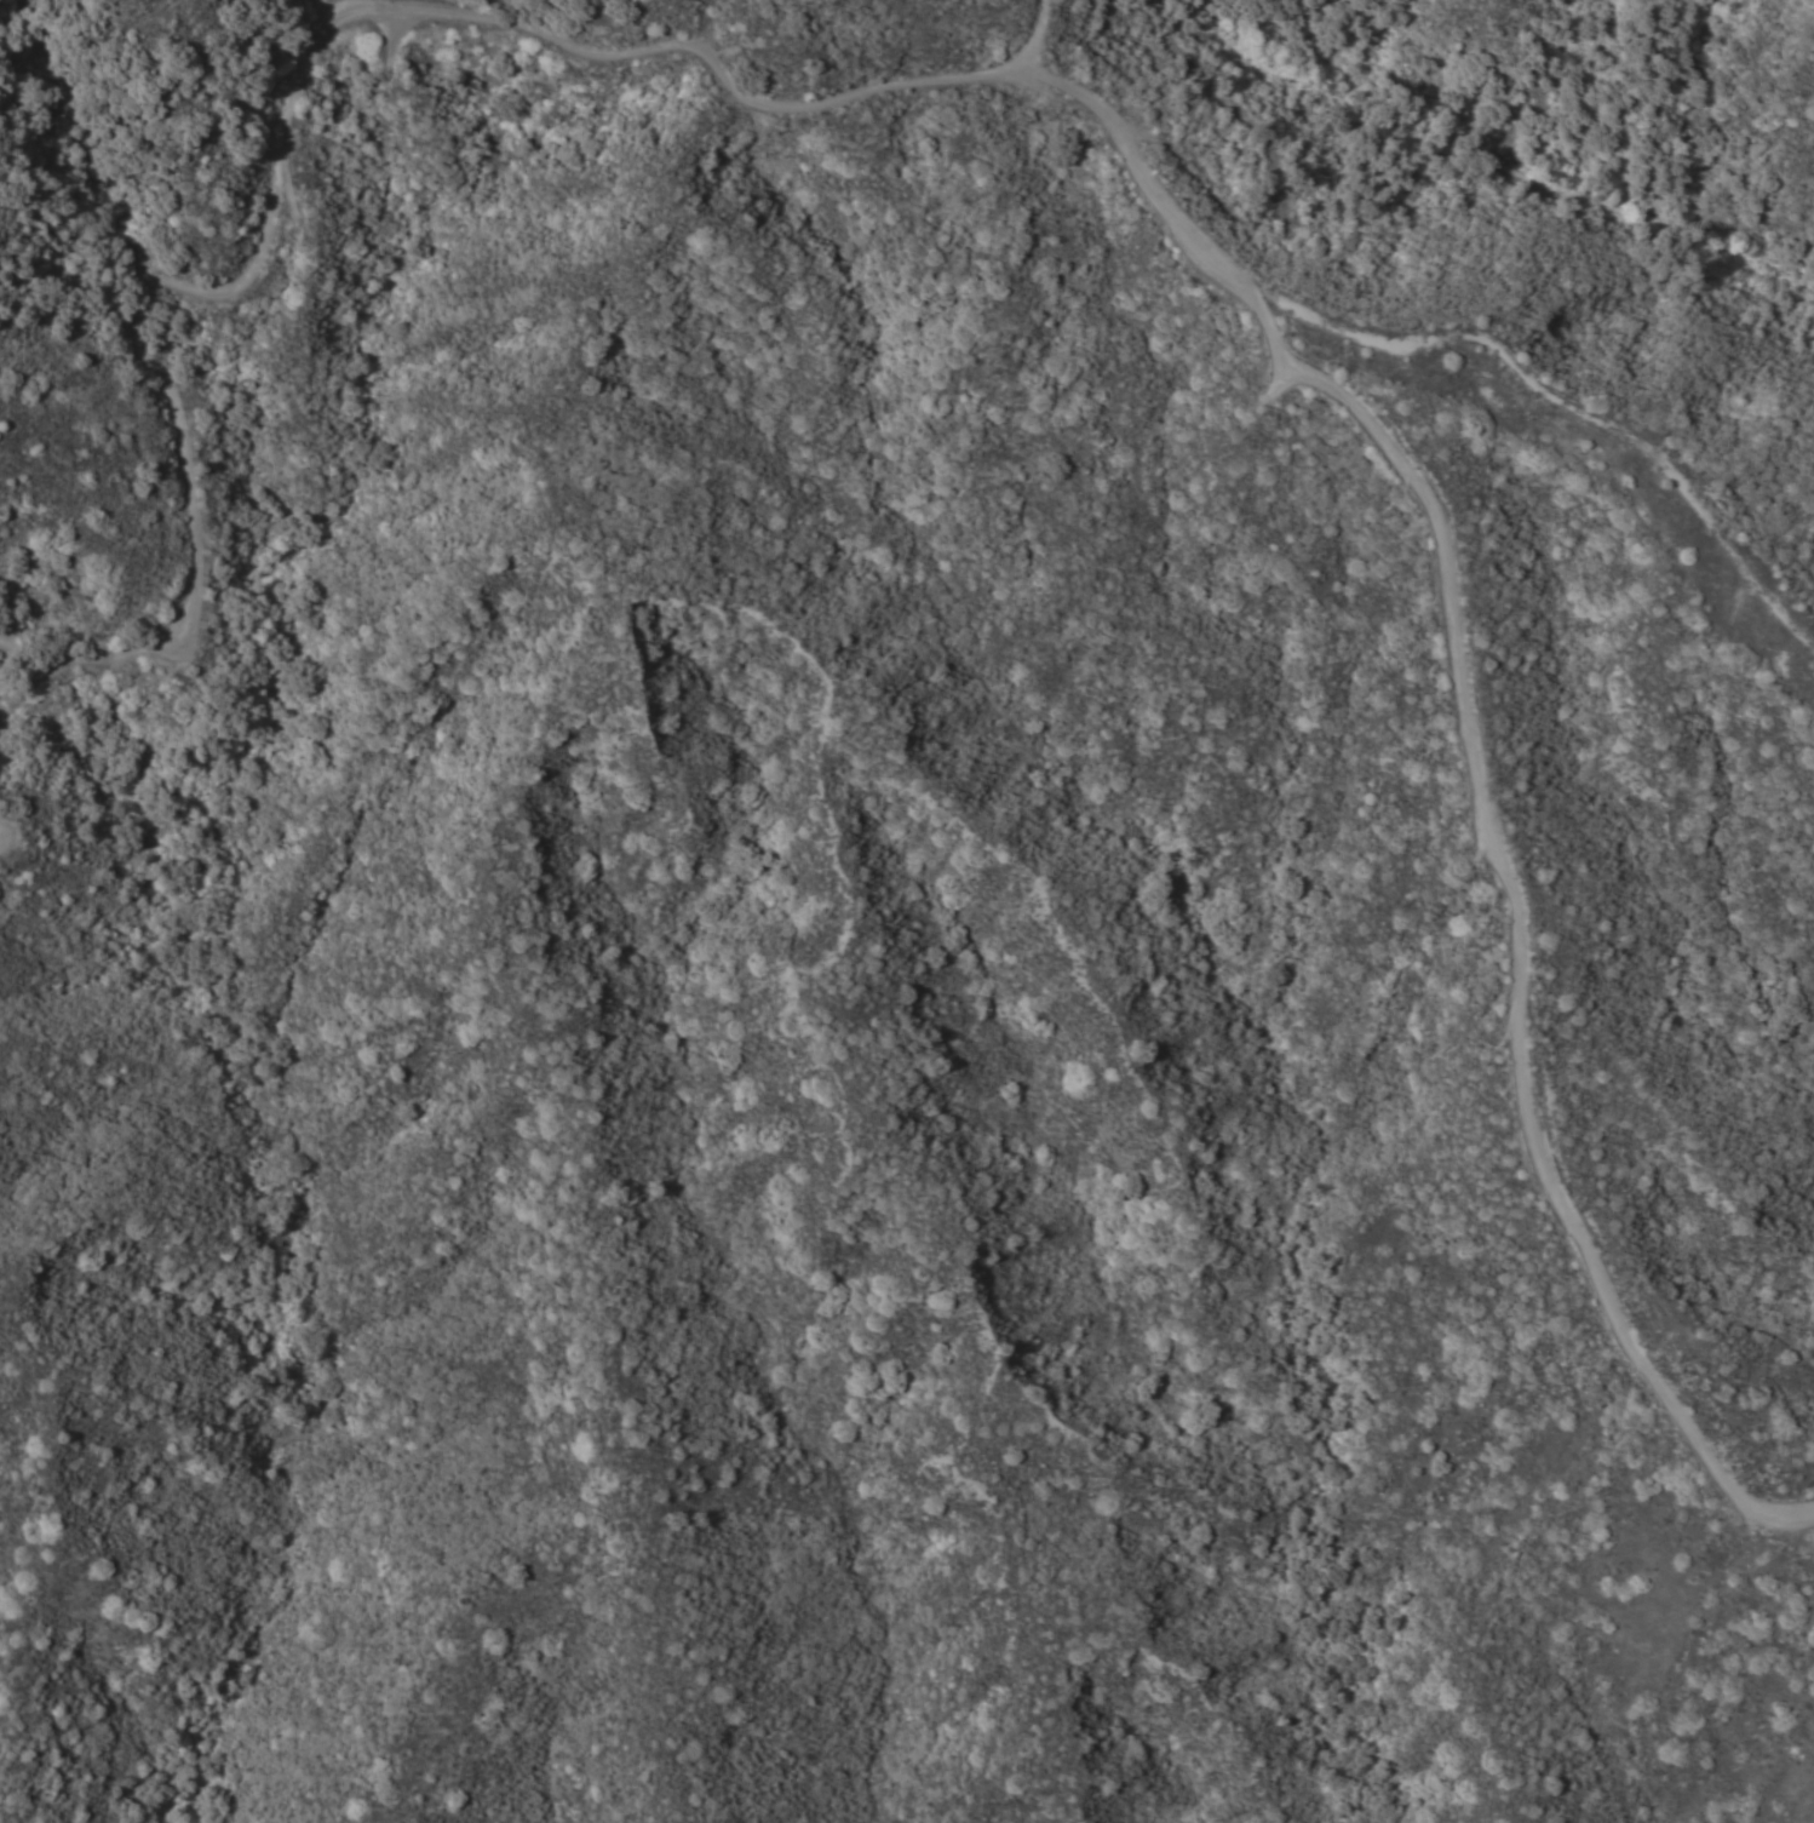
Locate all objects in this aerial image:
road: (1037, 35)
road: (285, 119)
road: (1573, 391)
road: (1469, 762)

